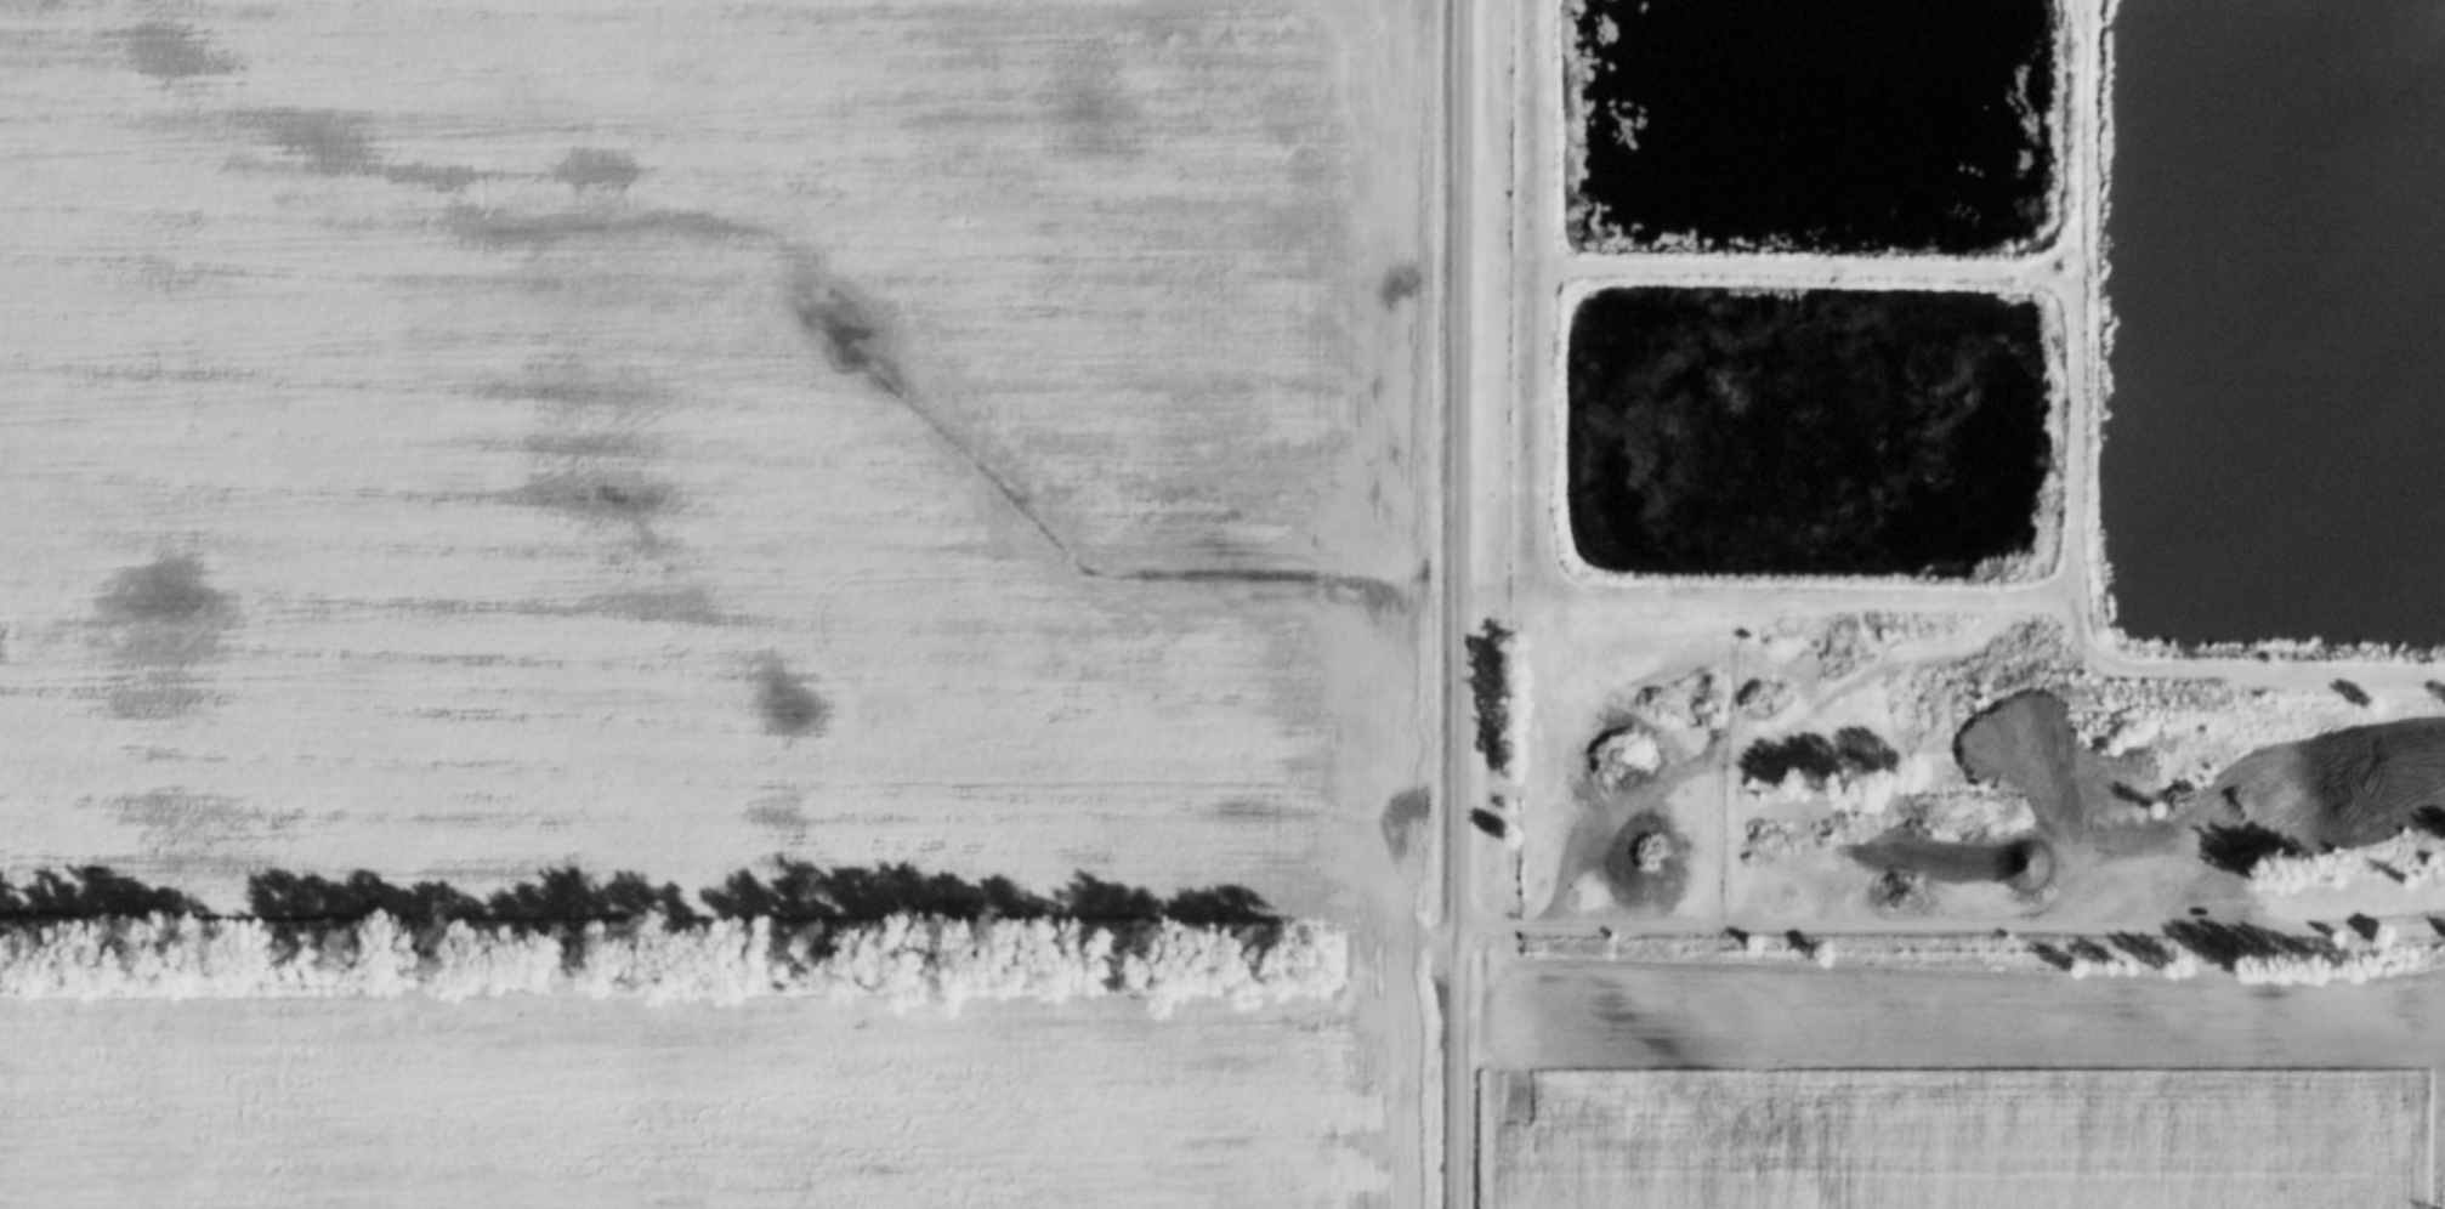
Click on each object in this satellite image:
road: (1468, 603)
road: (1623, 696)
road: (1955, 930)

